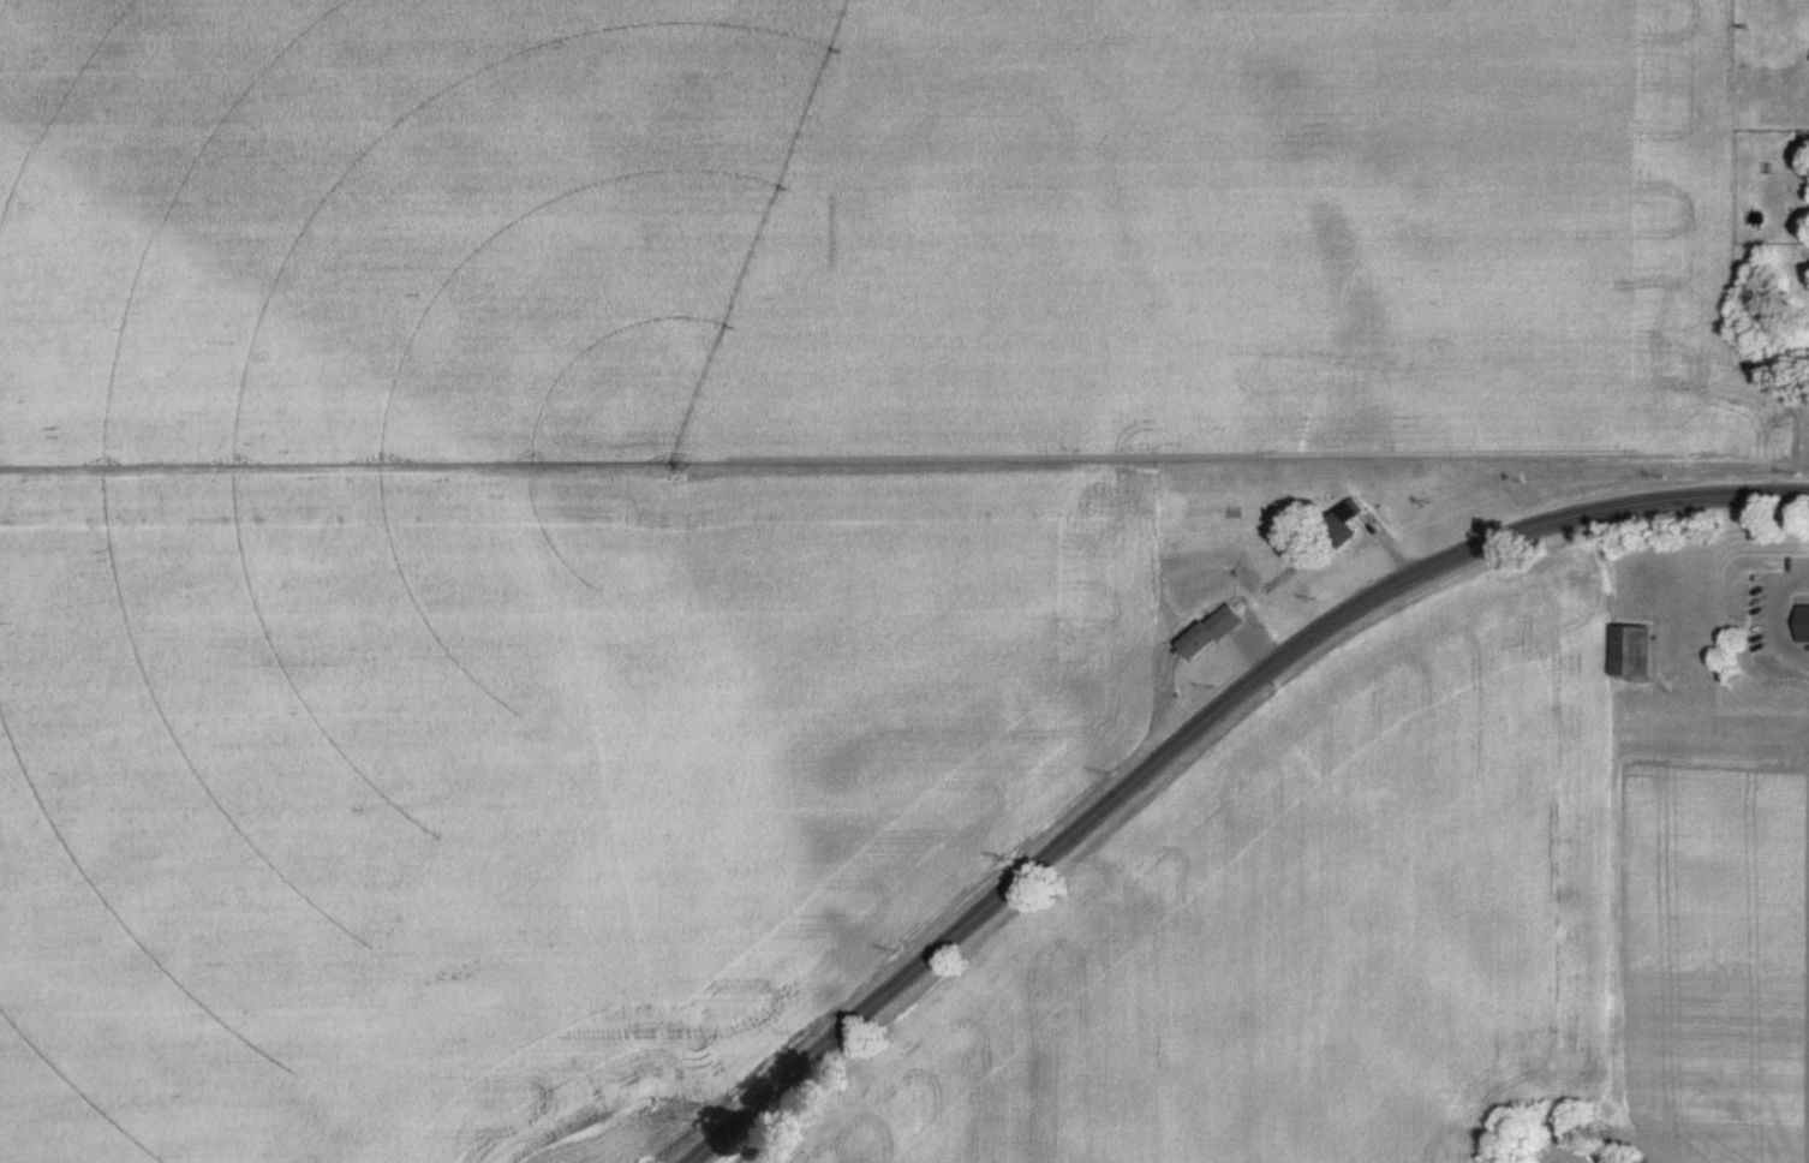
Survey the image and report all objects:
building: (1341, 521)
road: (1789, 622)
building: (1208, 631)
building: (1630, 649)
road: (1198, 726)

